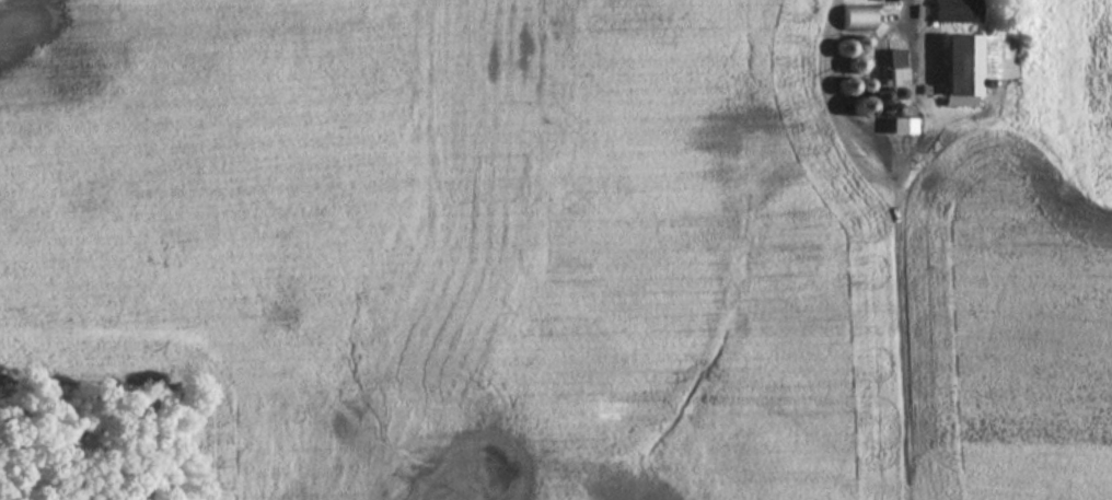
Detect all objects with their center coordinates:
building: (884, 0)
building: (950, 11)
building: (853, 16)
building: (969, 63)
road: (887, 150)
crop: (546, 255)

